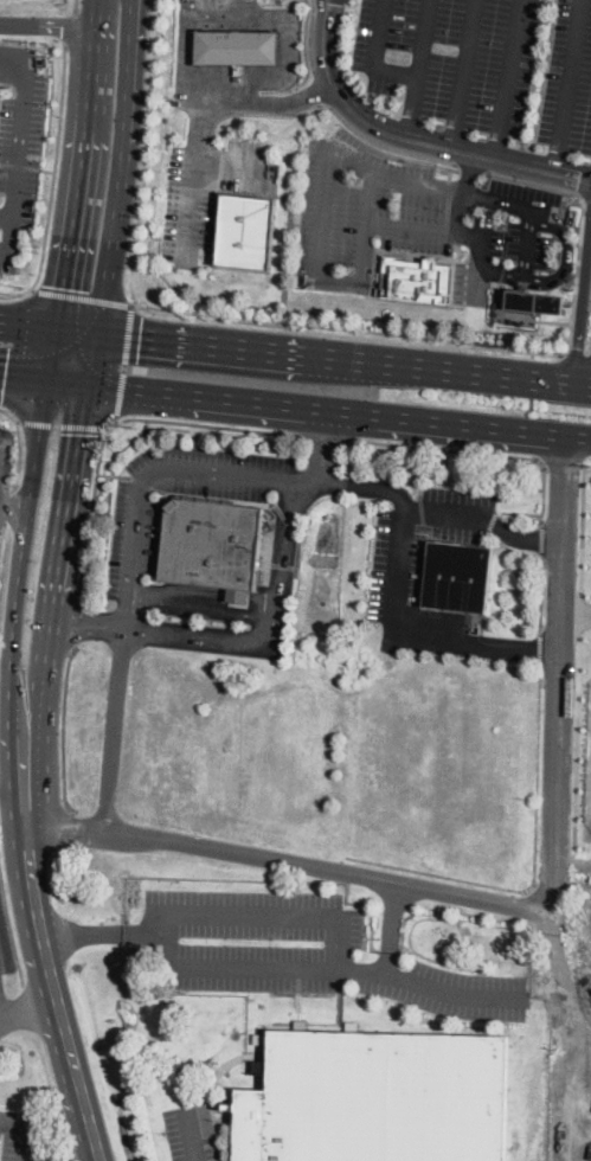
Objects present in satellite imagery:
road: (75, 4)
road: (242, 7)
road: (46, 24)
road: (71, 24)
road: (308, 36)
building: (237, 47)
parking lot: (483, 62)
road: (397, 69)
road: (463, 72)
road: (532, 73)
road: (231, 75)
road: (507, 77)
road: (544, 77)
road: (570, 84)
road: (319, 86)
road: (230, 88)
road: (244, 101)
road: (325, 102)
road: (411, 104)
road: (23, 134)
road: (412, 137)
parking lot: (20, 160)
road: (20, 165)
road: (441, 165)
road: (471, 165)
road: (121, 166)
road: (49, 168)
road: (467, 169)
road: (197, 175)
road: (53, 180)
road: (79, 191)
parking lot: (206, 193)
road: (587, 199)
road: (448, 210)
parking lot: (415, 218)
road: (322, 219)
road: (433, 227)
building: (248, 232)
road: (13, 238)
road: (423, 252)
road: (566, 254)
road: (527, 256)
building: (418, 276)
road: (476, 282)
traffic signals: (65, 287)
road: (79, 295)
road: (582, 296)
road: (134, 300)
building: (535, 302)
road: (553, 319)
road: (49, 327)
road: (327, 327)
traffic signals: (140, 336)
road: (19, 351)
road: (577, 353)
road: (345, 358)
road: (94, 359)
road: (123, 360)
traffic signals: (5, 373)
road: (44, 379)
road: (590, 379)
road: (7, 410)
road: (339, 416)
road: (120, 418)
road: (60, 421)
traffic signals: (81, 432)
road: (326, 435)
road: (280, 443)
road: (322, 447)
road: (494, 451)
road: (18, 453)
road: (563, 463)
road: (154, 467)
road: (587, 468)
road: (415, 469)
road: (113, 474)
road: (146, 485)
road: (370, 485)
road: (11, 511)
road: (13, 511)
road: (449, 513)
road: (423, 515)
road: (583, 525)
road: (542, 534)
road: (526, 535)
parking lot: (134, 537)
building: (213, 545)
road: (21, 562)
parking lot: (422, 564)
road: (4, 566)
road: (58, 567)
road: (404, 570)
building: (457, 573)
road: (541, 594)
road: (204, 602)
road: (580, 611)
road: (77, 617)
road: (578, 620)
road: (88, 622)
road: (276, 634)
road: (481, 640)
road: (540, 649)
road: (585, 650)
road: (564, 675)
road: (64, 730)
road: (113, 730)
road: (577, 739)
road: (25, 842)
road: (290, 861)
road: (535, 873)
road: (11, 924)
road: (390, 925)
road: (101, 930)
road: (336, 939)
parking lot: (302, 951)
road: (429, 984)
road: (31, 1012)
road: (0, 1015)
road: (72, 1048)
building: (375, 1097)
road: (45, 1116)
parking lot: (191, 1131)
road: (188, 1136)

